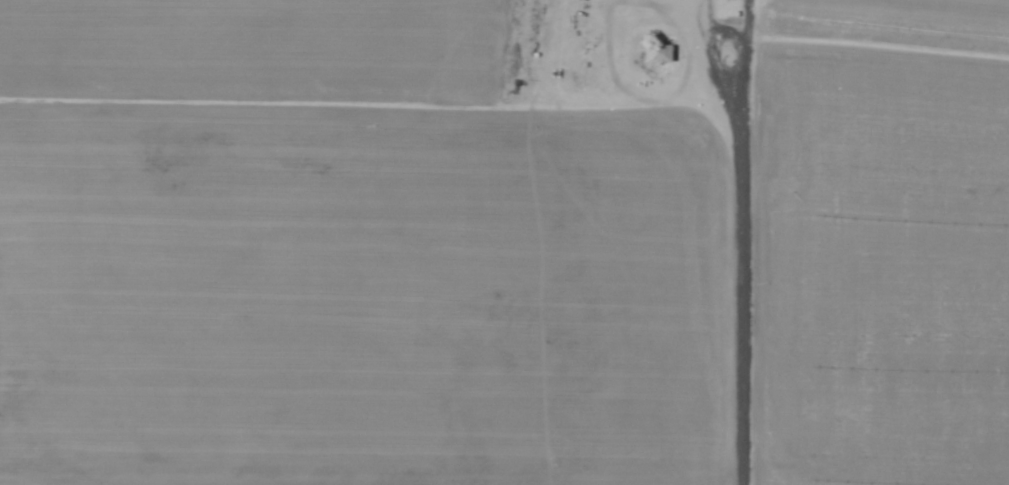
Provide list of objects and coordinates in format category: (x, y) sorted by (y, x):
building: (660, 54)
crop: (504, 242)
road: (744, 243)

